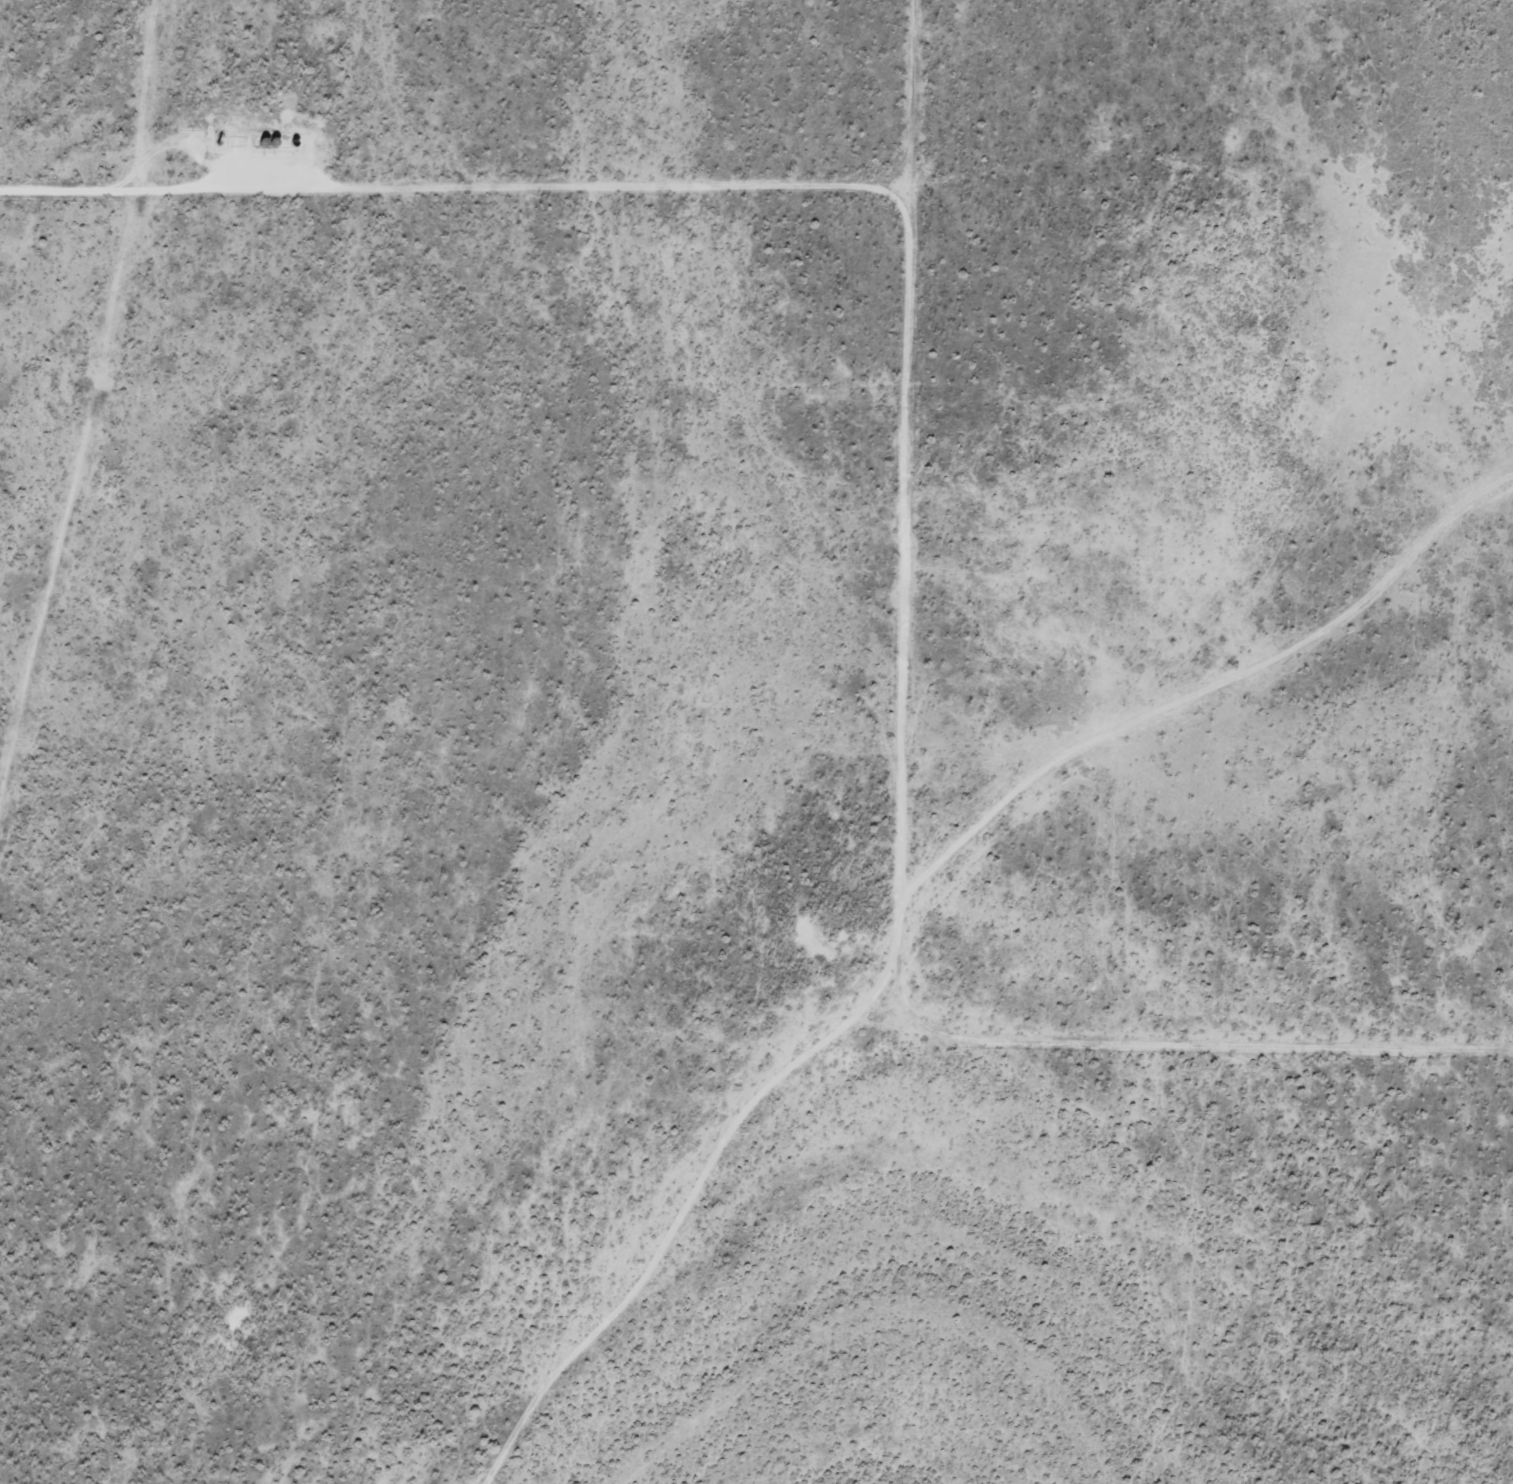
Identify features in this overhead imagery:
road: (903, 449)
road: (917, 897)

